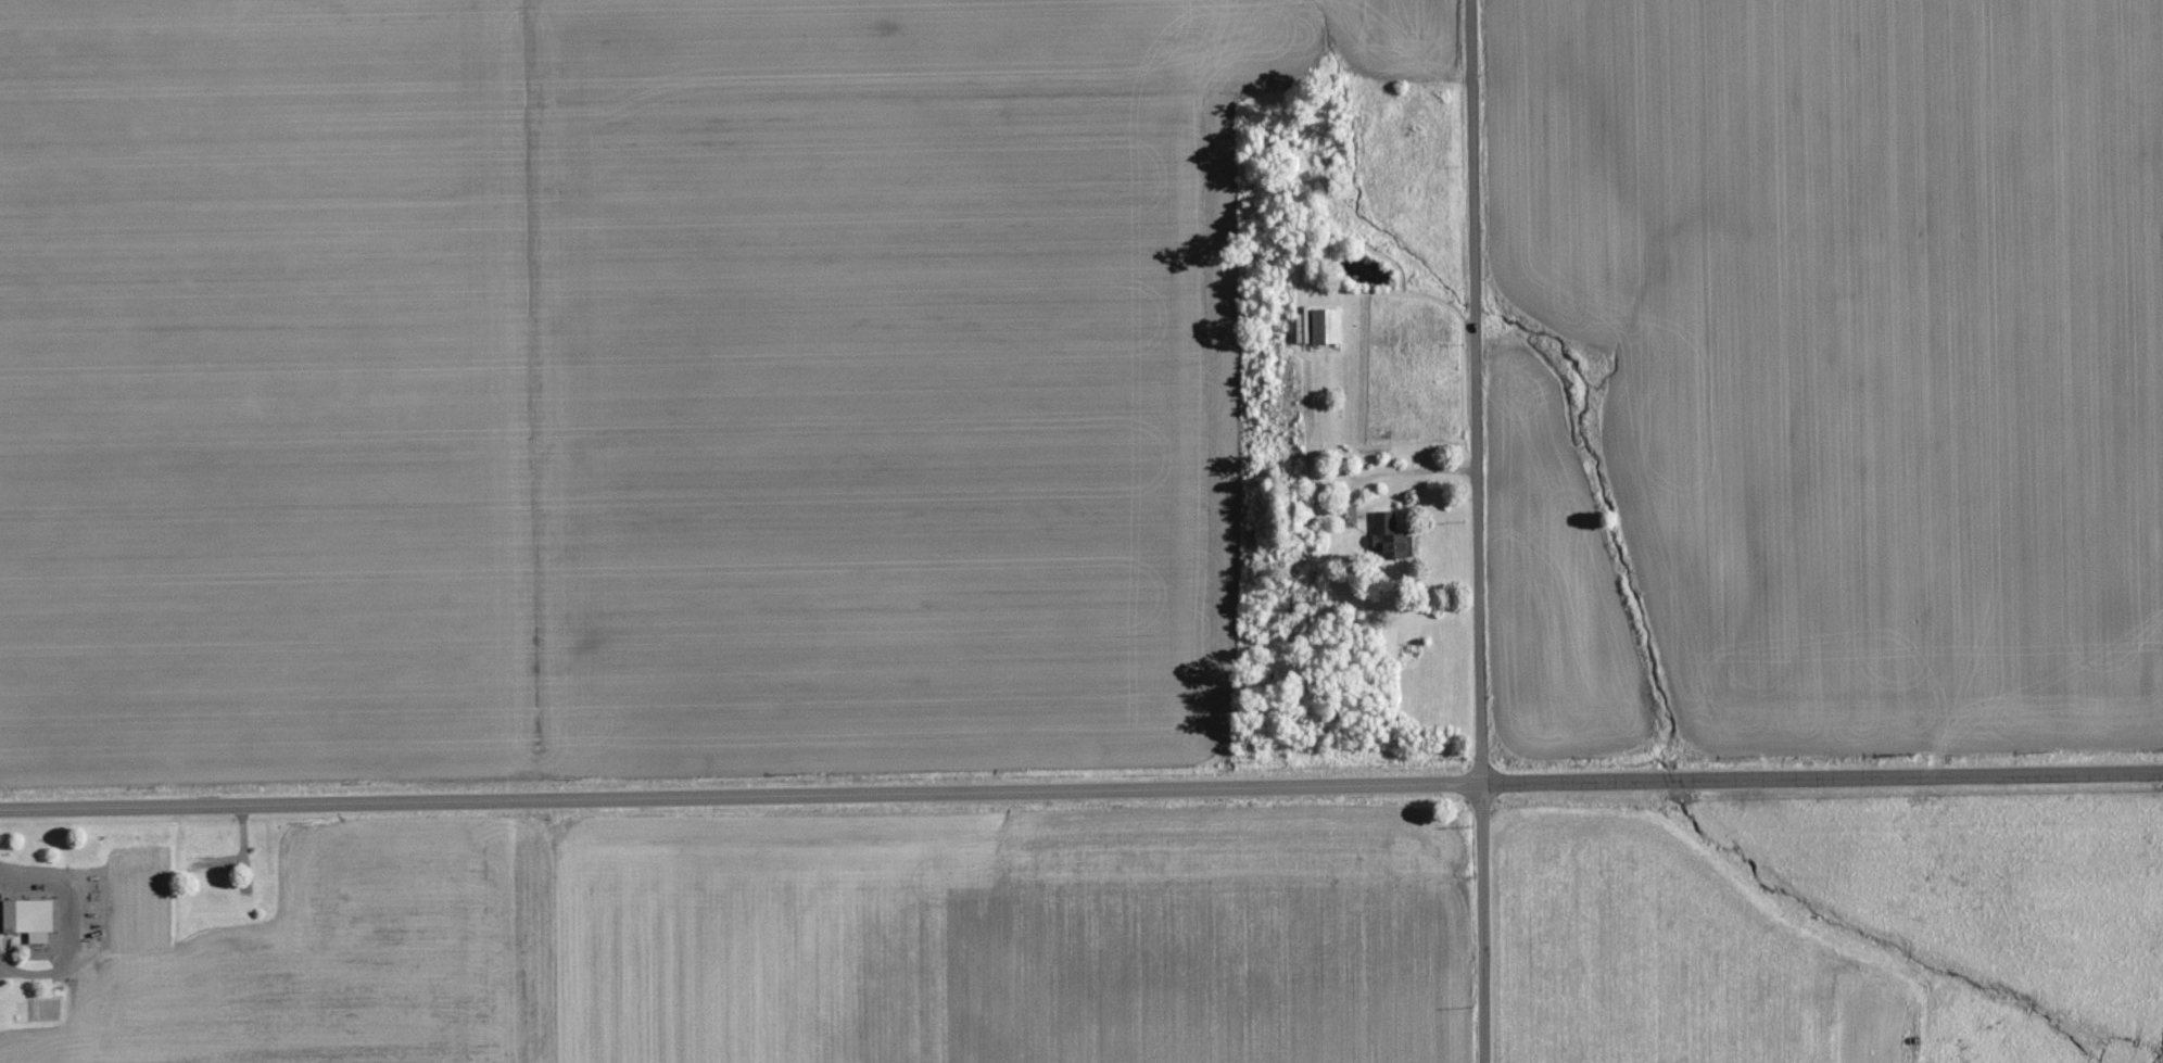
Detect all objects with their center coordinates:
building: (1325, 324)
road: (1471, 390)
building: (1378, 523)
road: (1080, 786)
building: (27, 916)
road: (1477, 922)

